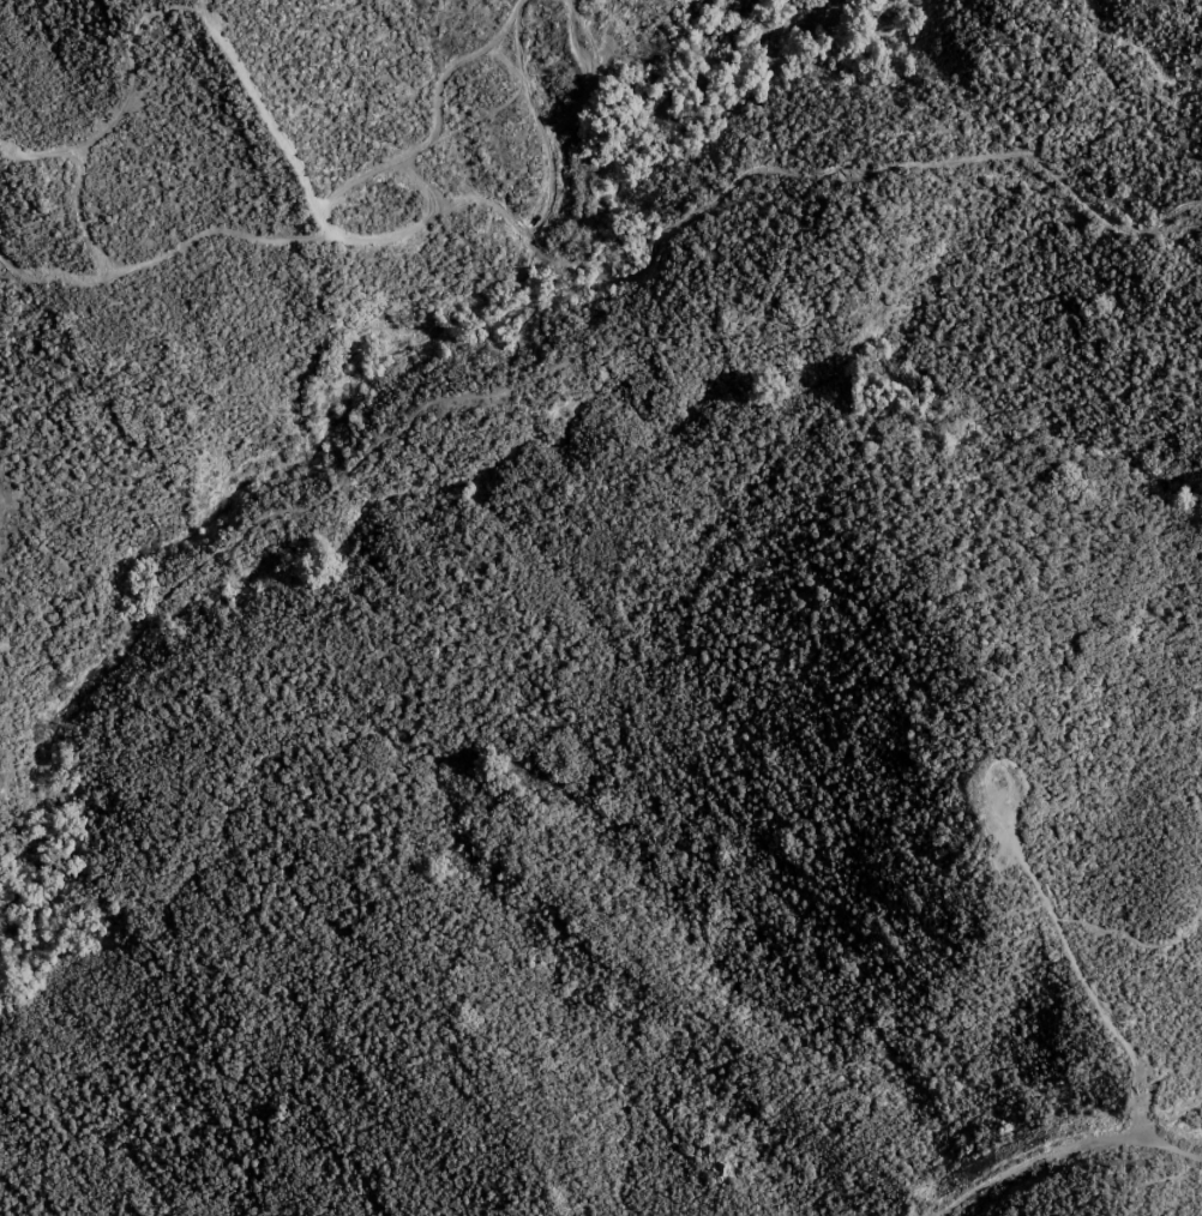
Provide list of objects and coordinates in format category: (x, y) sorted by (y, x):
road: (1077, 973)
road: (1065, 1151)

